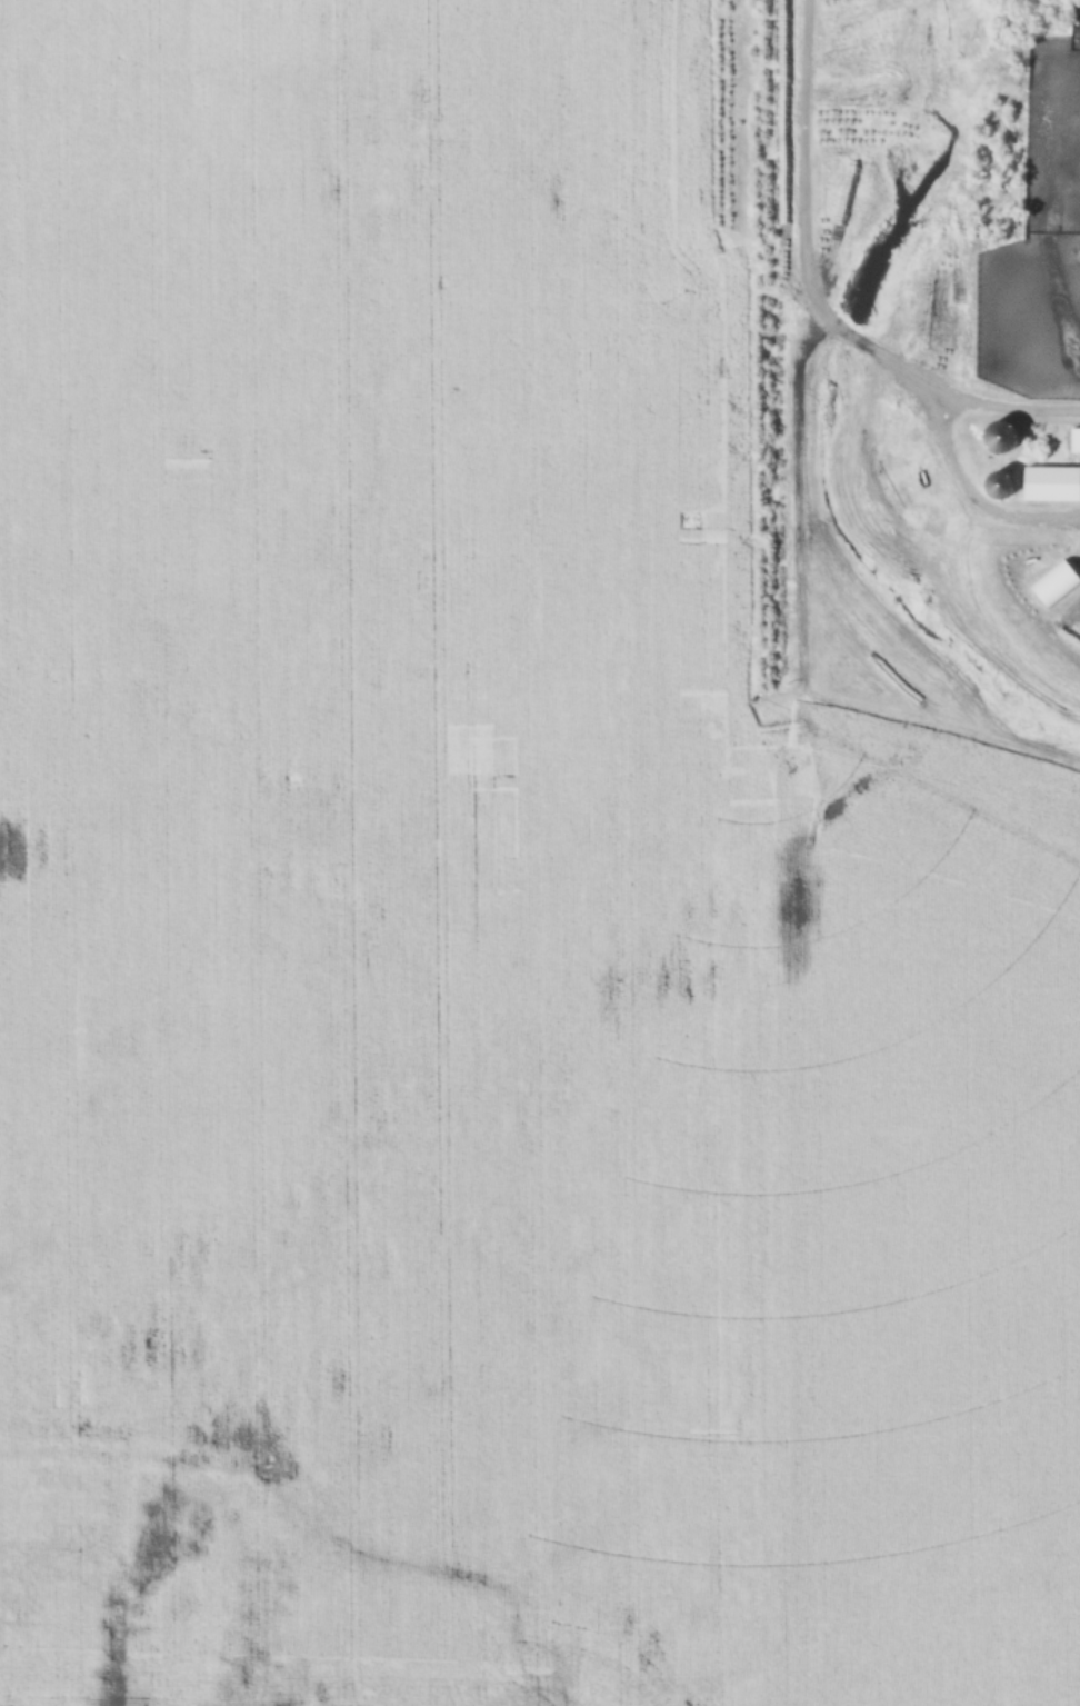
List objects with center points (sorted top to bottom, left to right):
road: (838, 329)
building: (1051, 483)
building: (999, 486)

